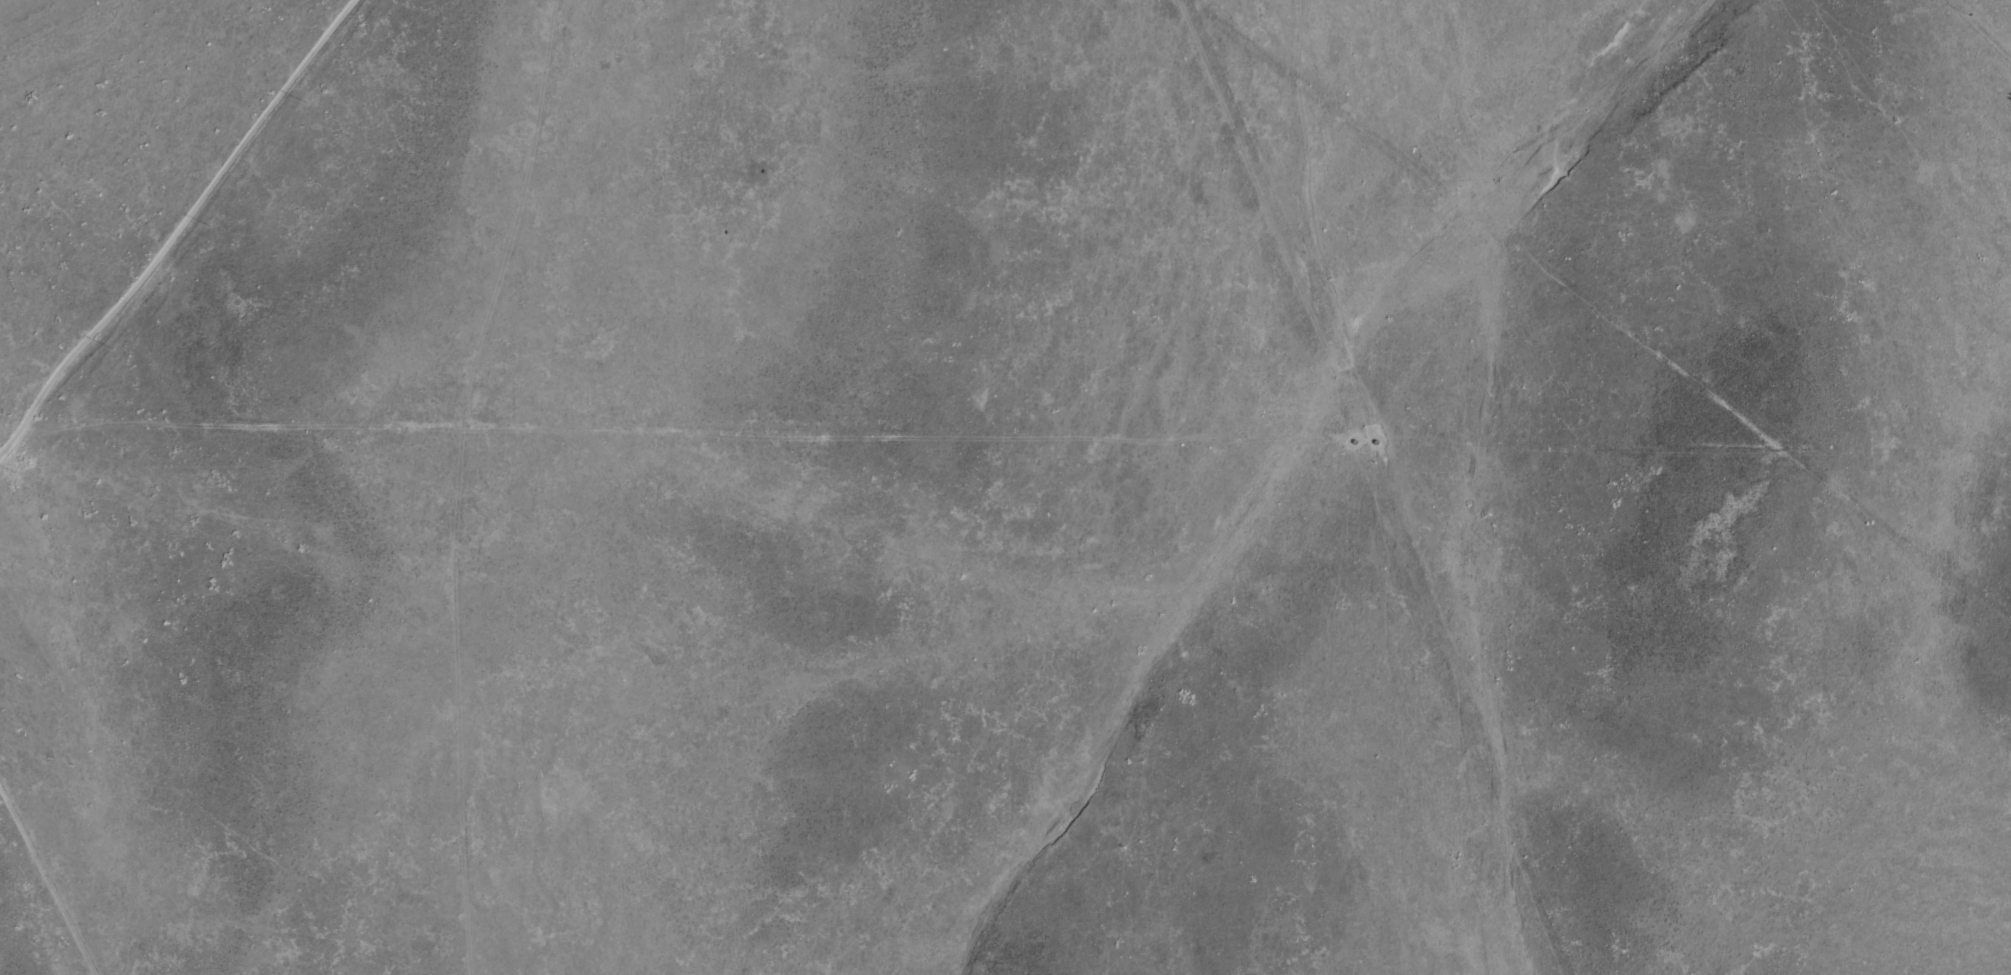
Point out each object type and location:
road: (172, 211)
road: (1598, 312)
road: (7, 967)

